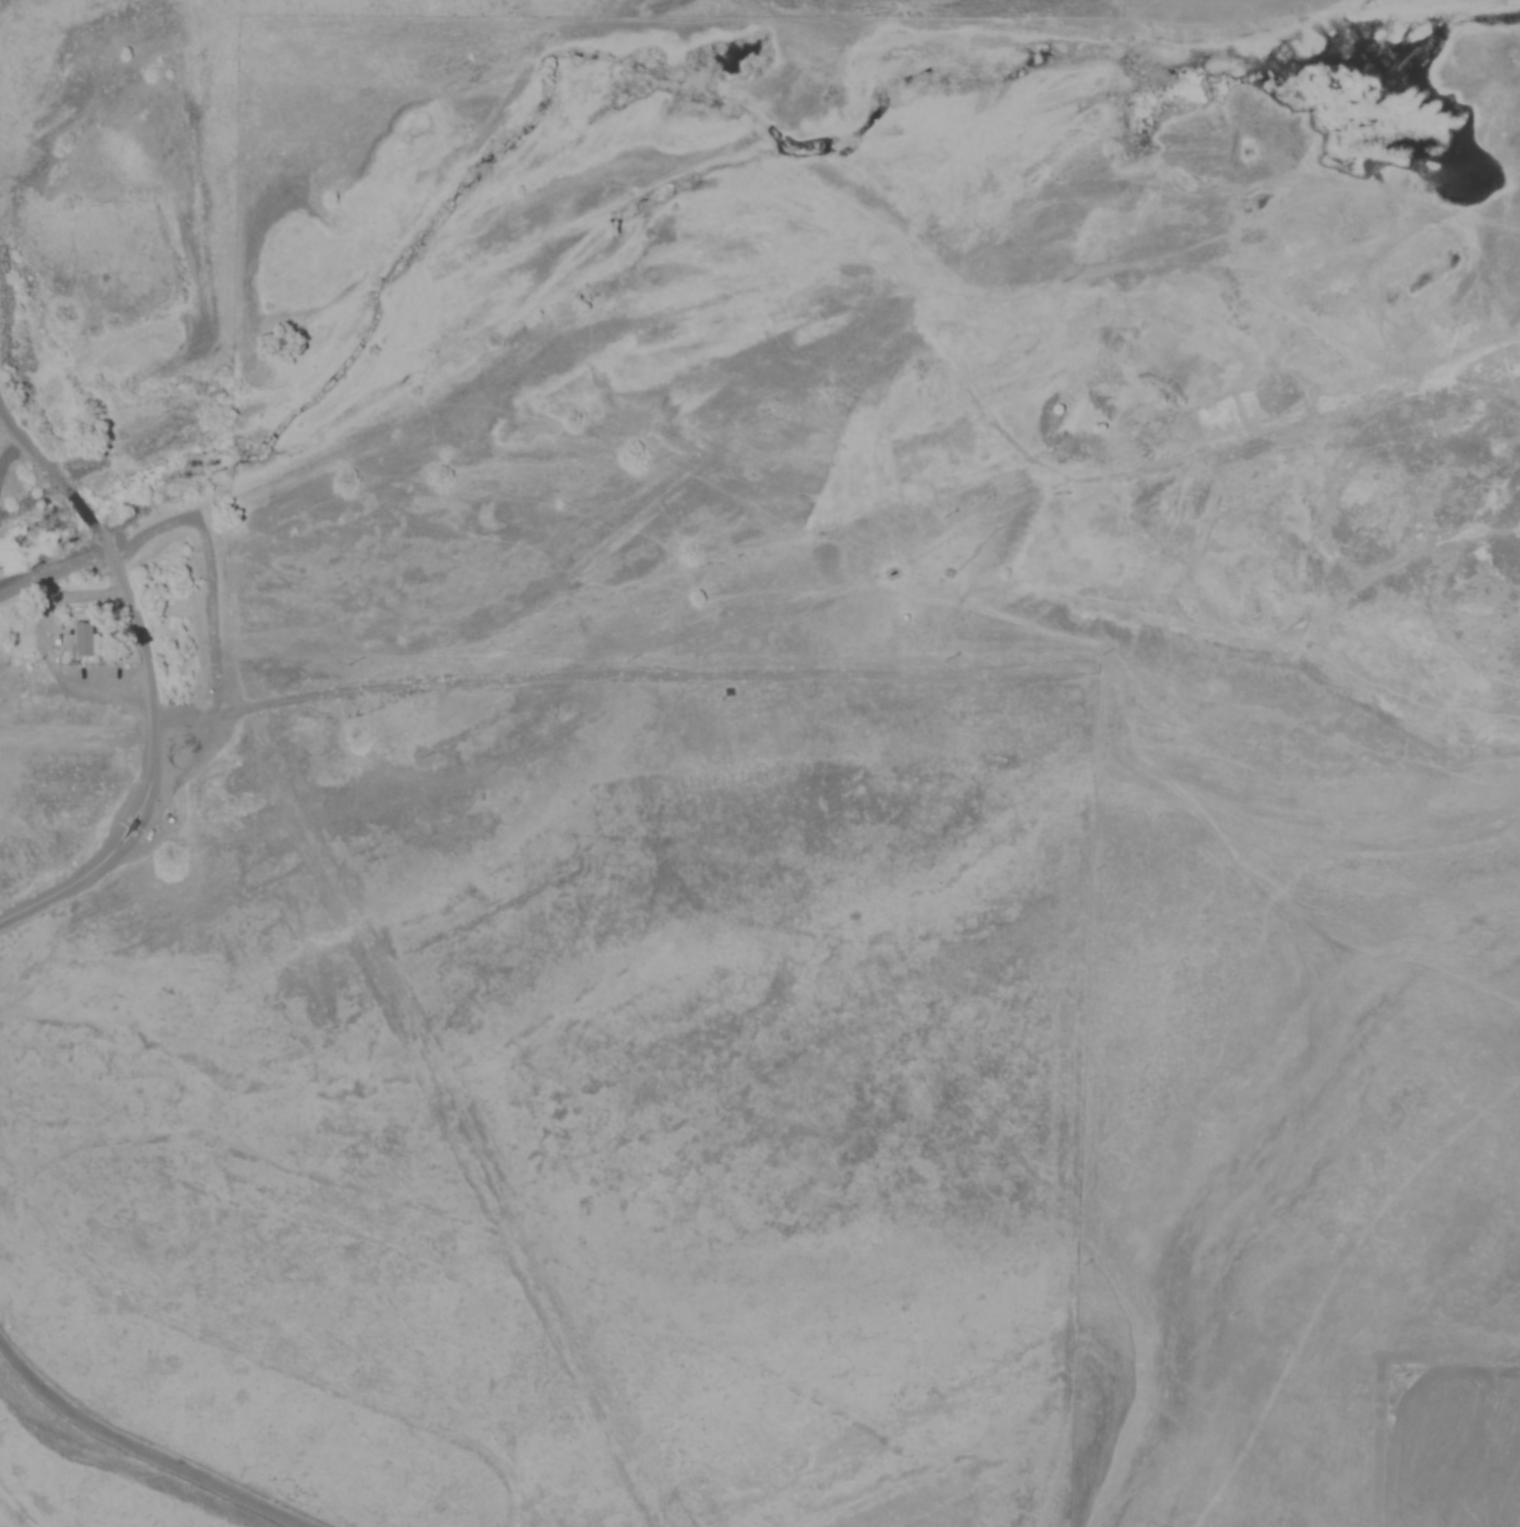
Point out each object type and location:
quarry: (854, 346)
road: (29, 443)
road: (80, 503)
building: (87, 639)
road: (158, 757)
park: (479, 945)
road: (142, 1449)

